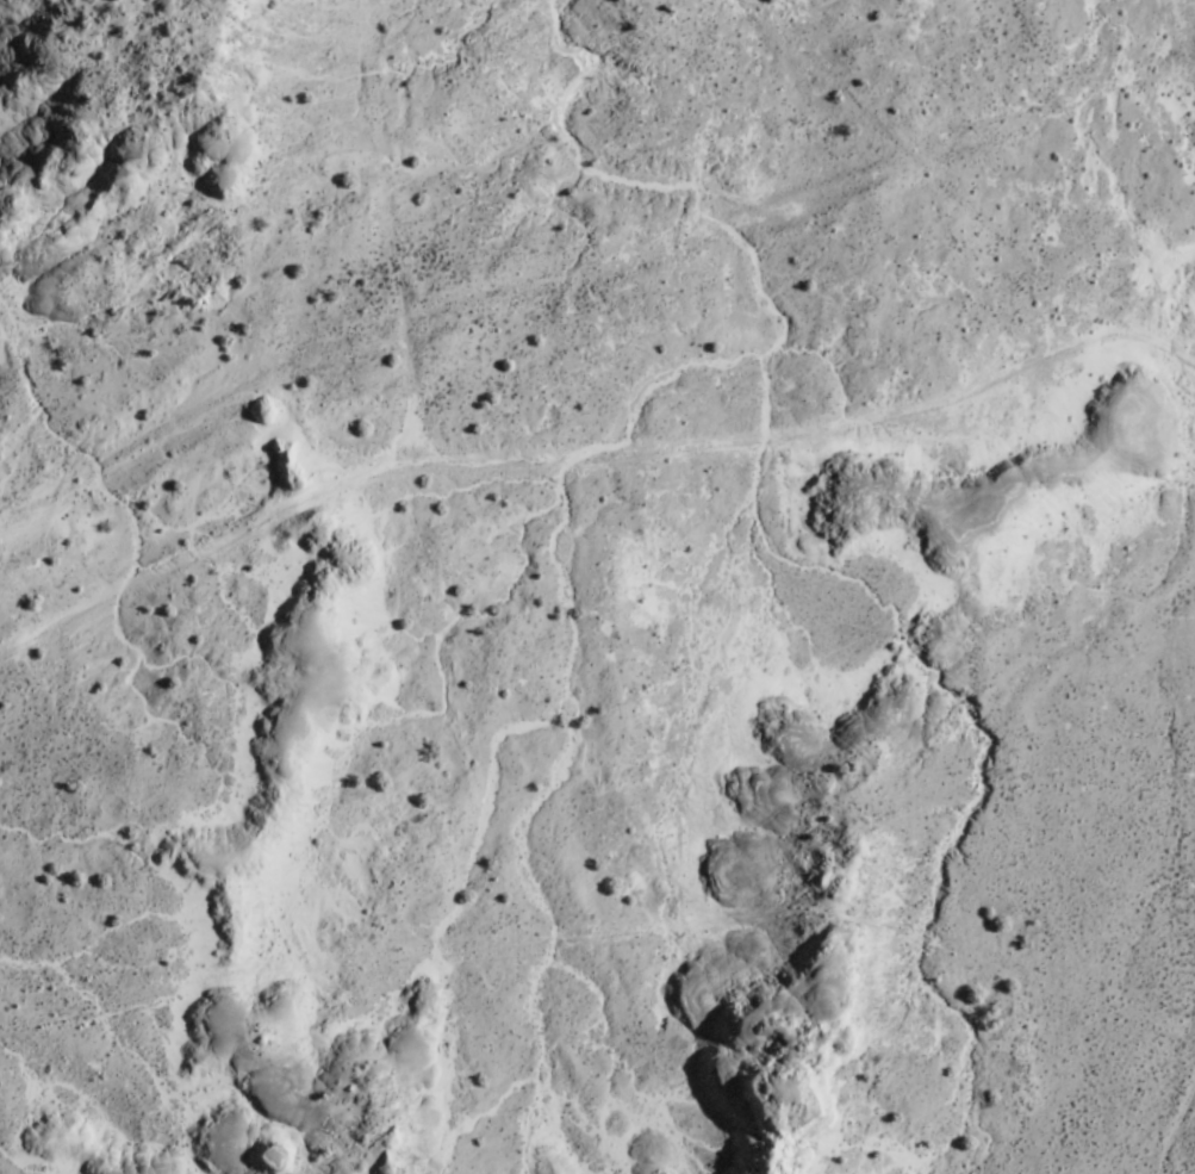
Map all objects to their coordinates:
road: (450, 229)
road: (848, 424)
road: (235, 530)

